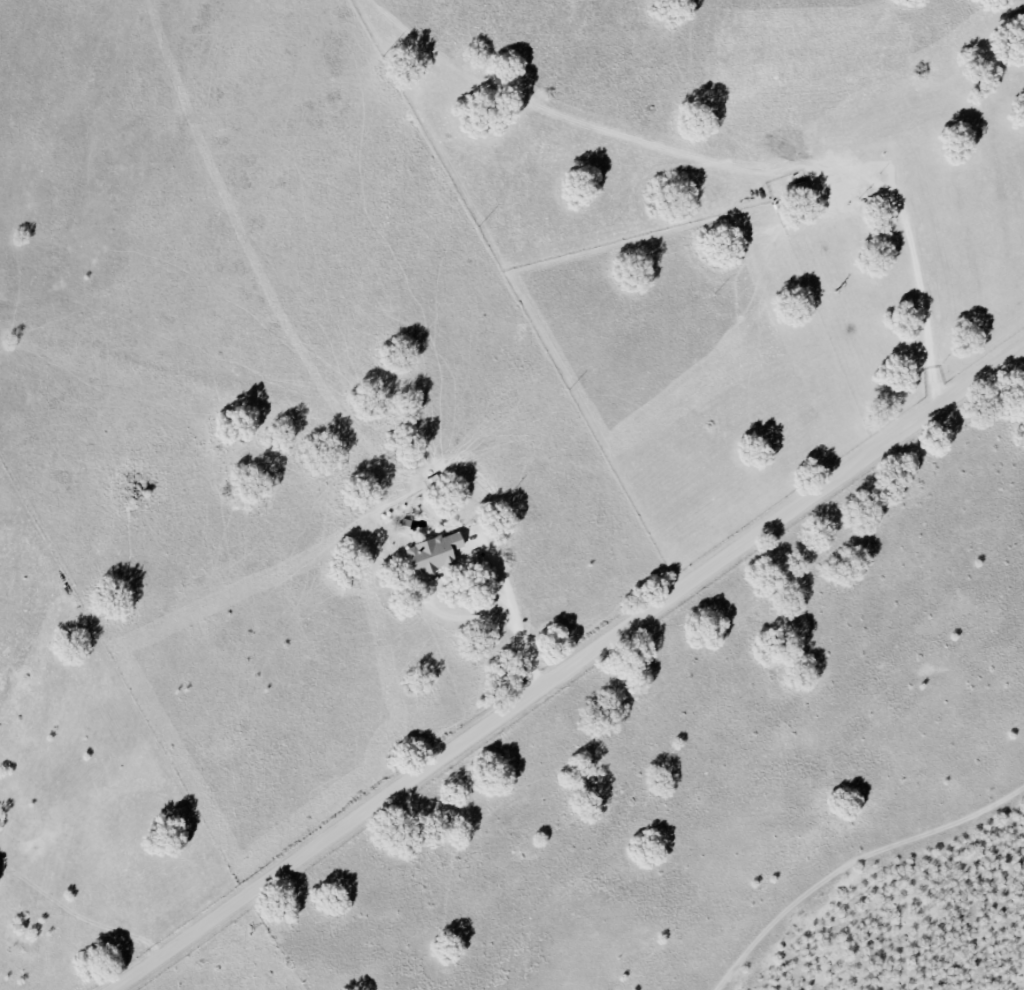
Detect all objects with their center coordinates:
road: (516, 613)
road: (570, 669)

